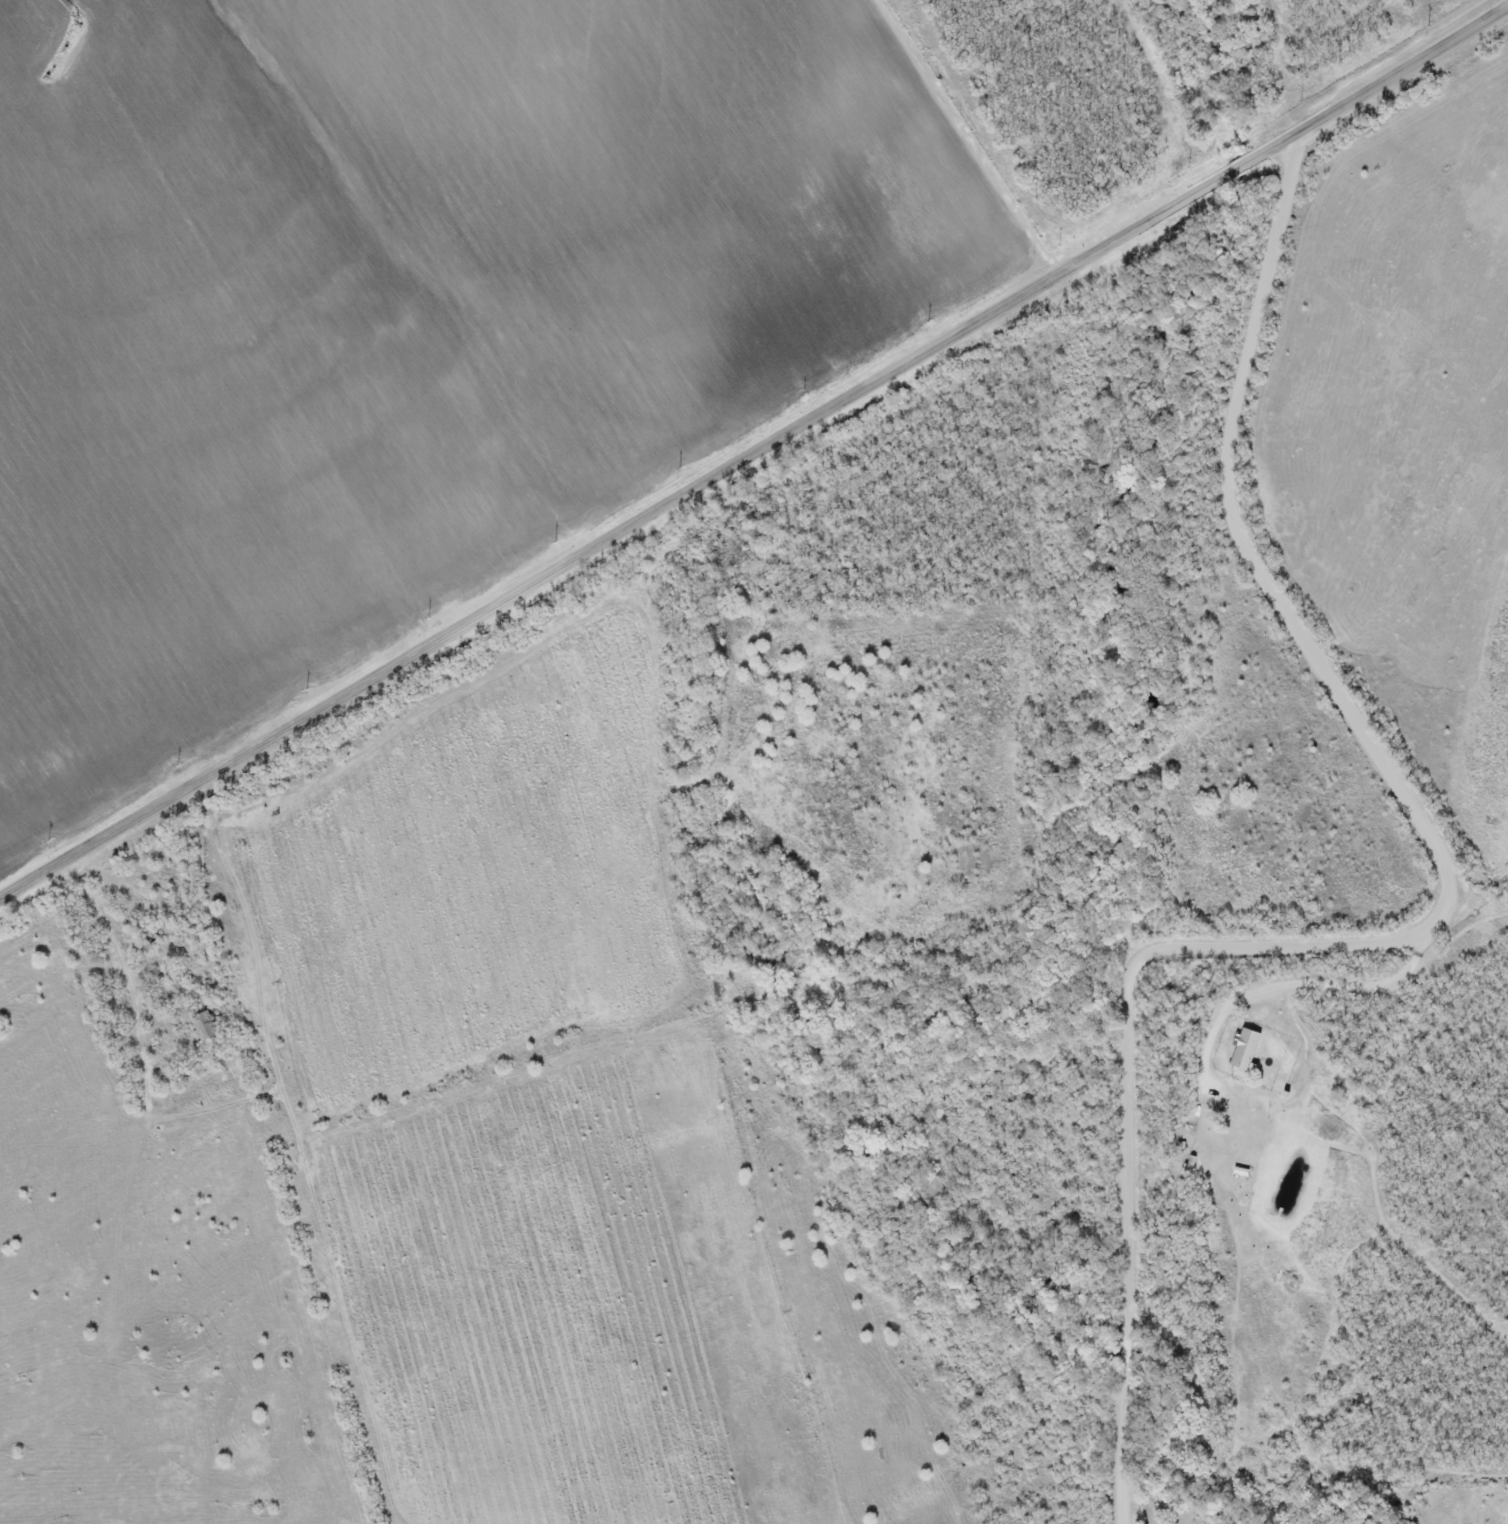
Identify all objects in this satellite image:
road: (754, 450)
road: (1440, 925)
road: (1301, 985)
building: (1243, 1051)

